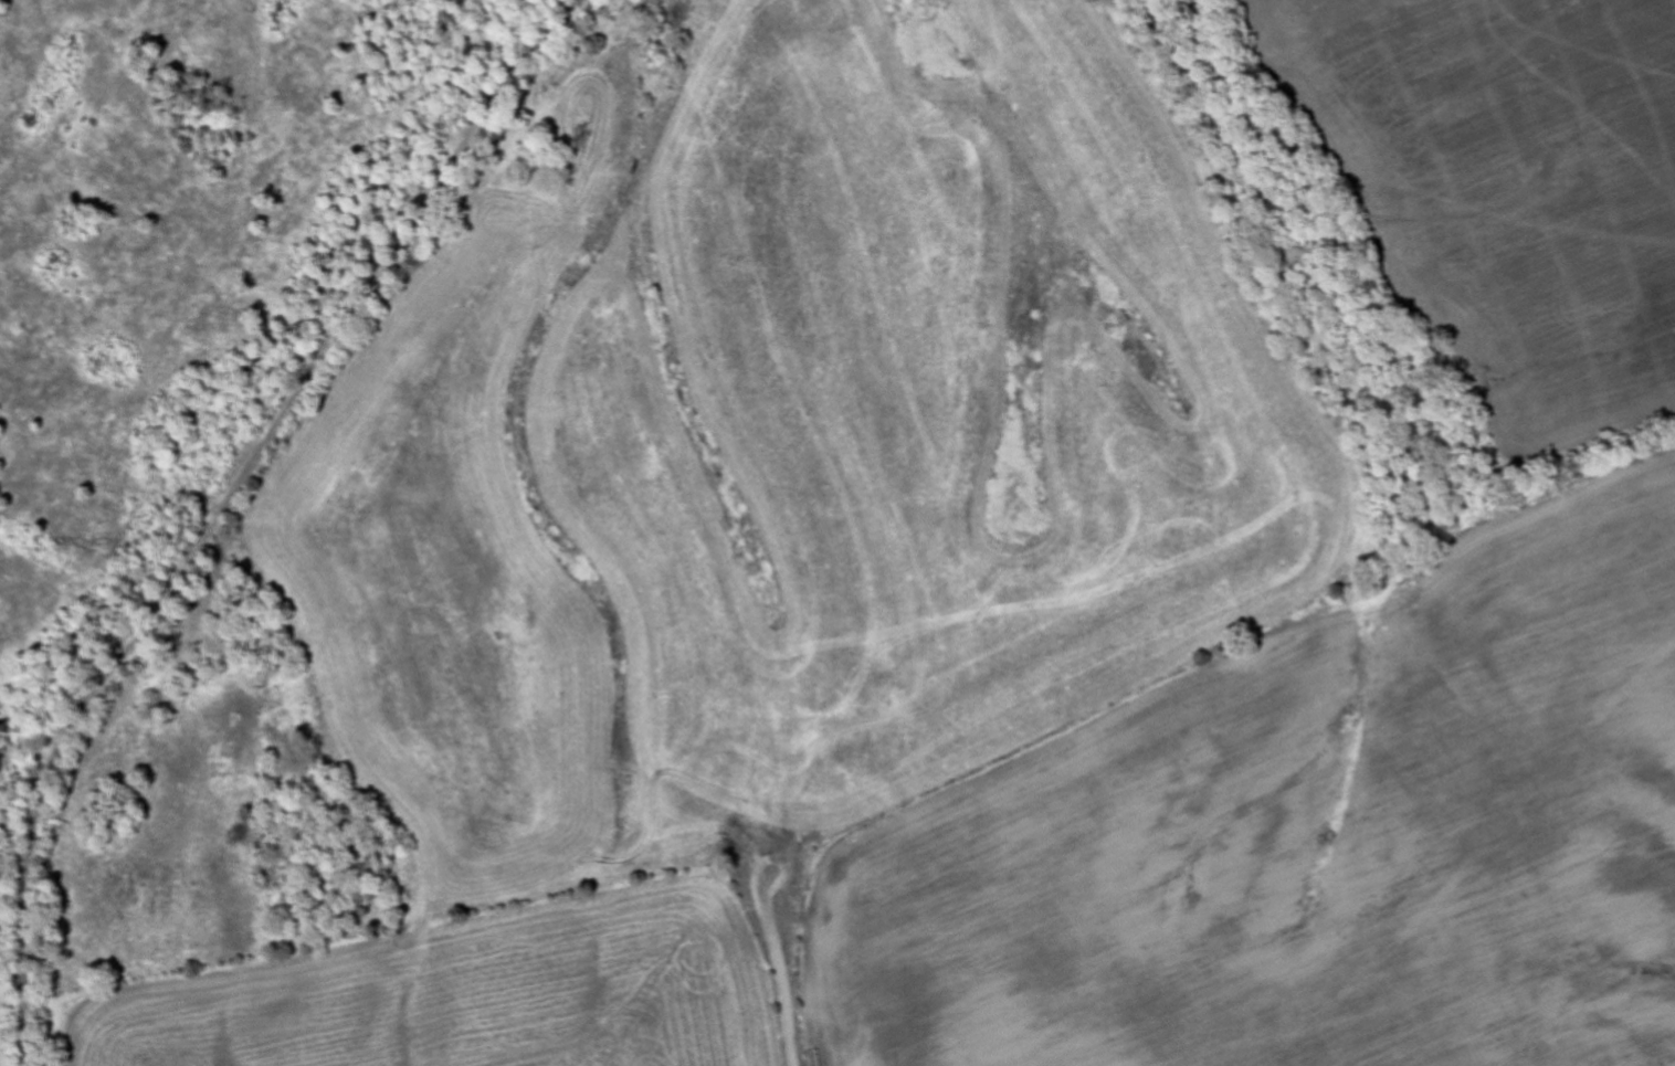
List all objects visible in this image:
road: (230, 508)

